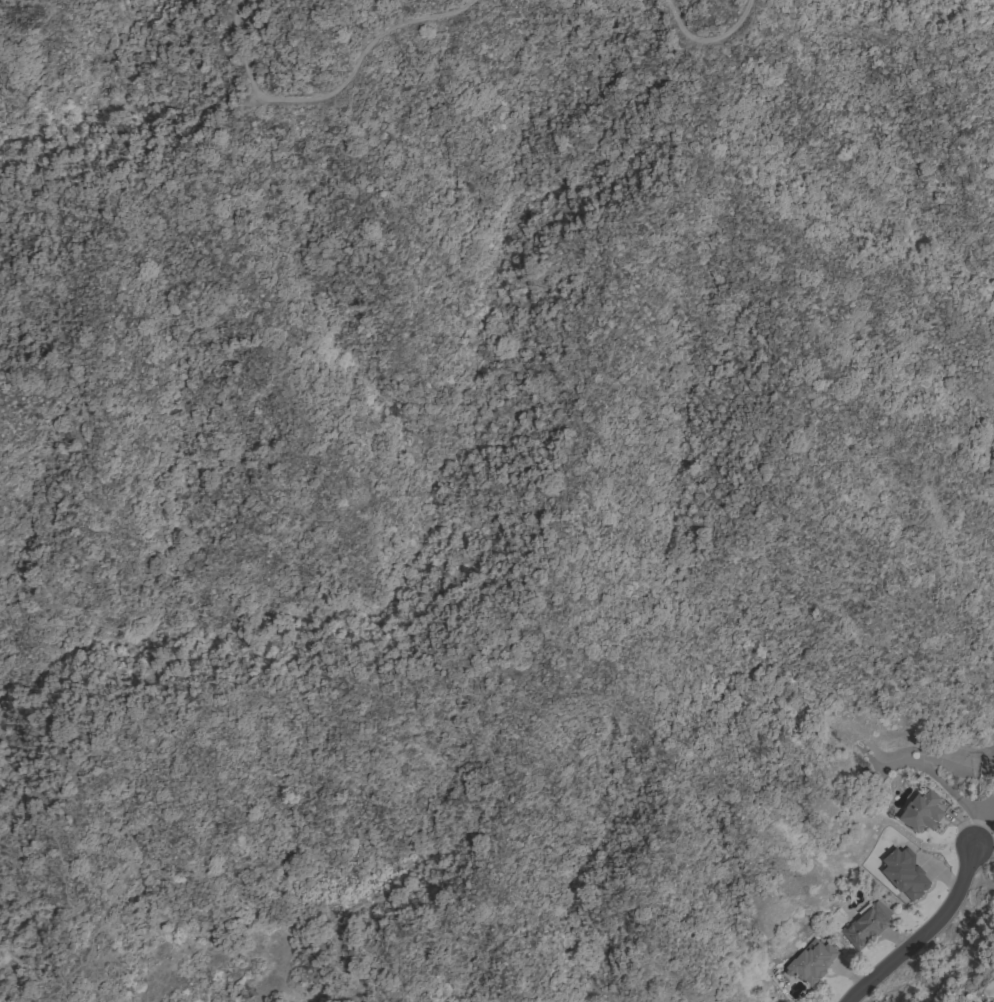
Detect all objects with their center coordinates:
road: (709, 39)
road: (335, 93)
road: (609, 345)
road: (174, 735)
building: (923, 812)
building: (903, 873)
road: (939, 919)
building: (866, 924)
building: (810, 963)
building: (993, 1000)

